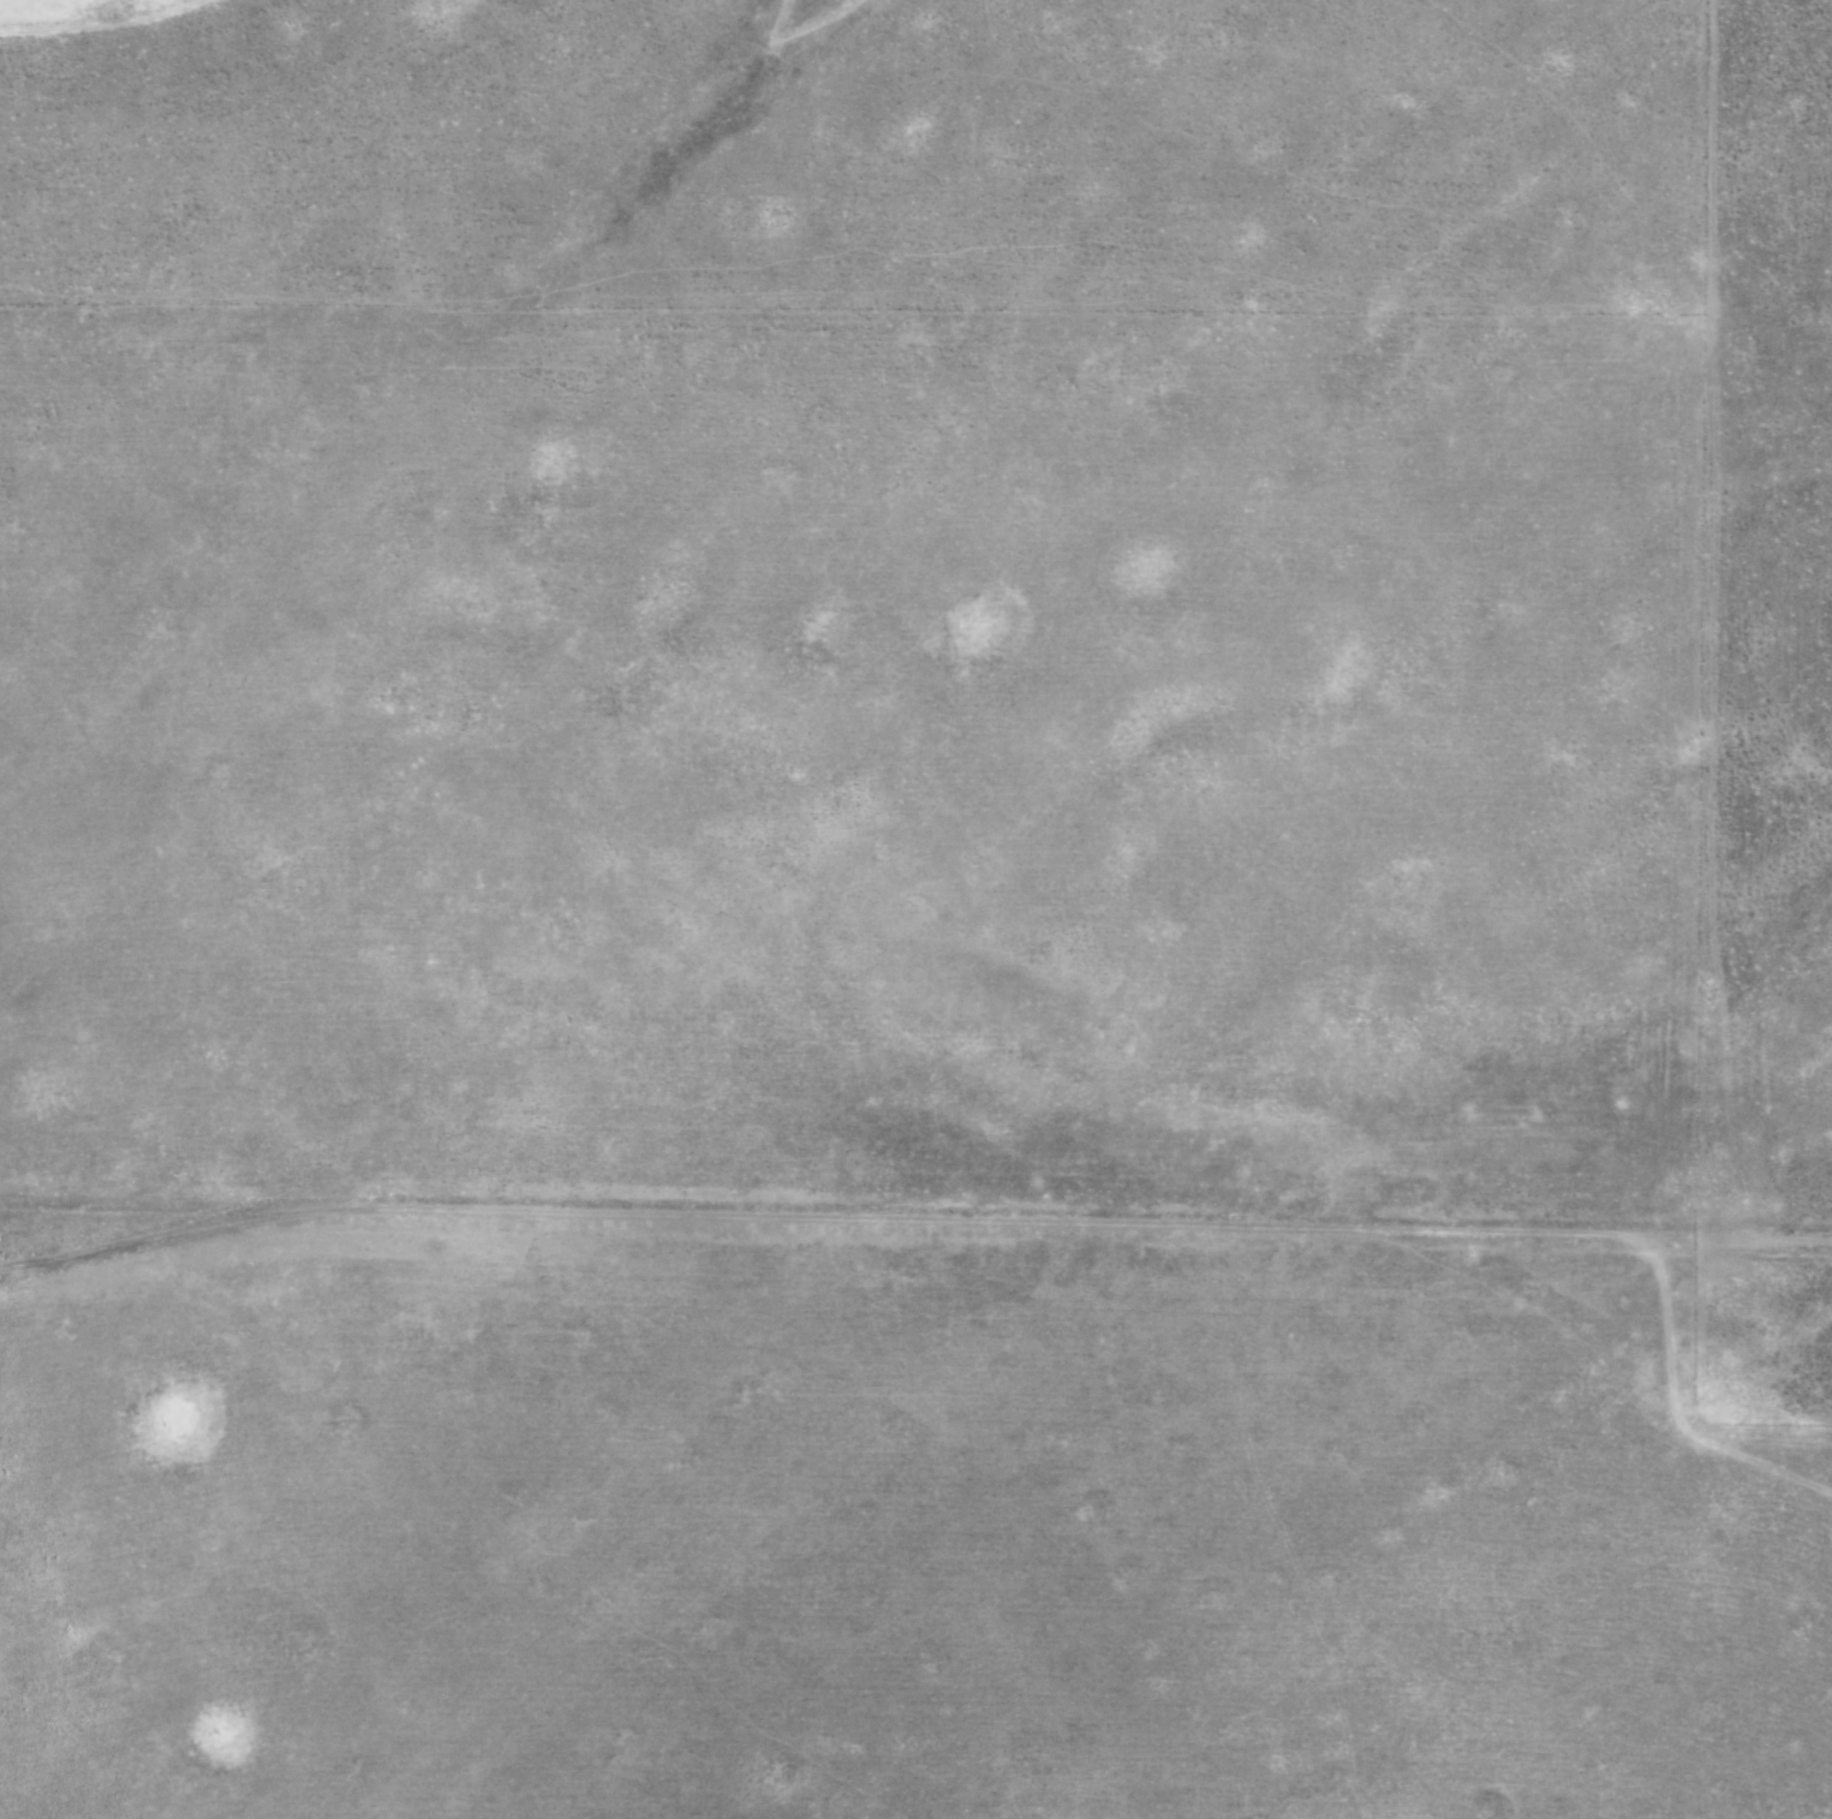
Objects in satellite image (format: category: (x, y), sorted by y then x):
road: (913, 1272)

